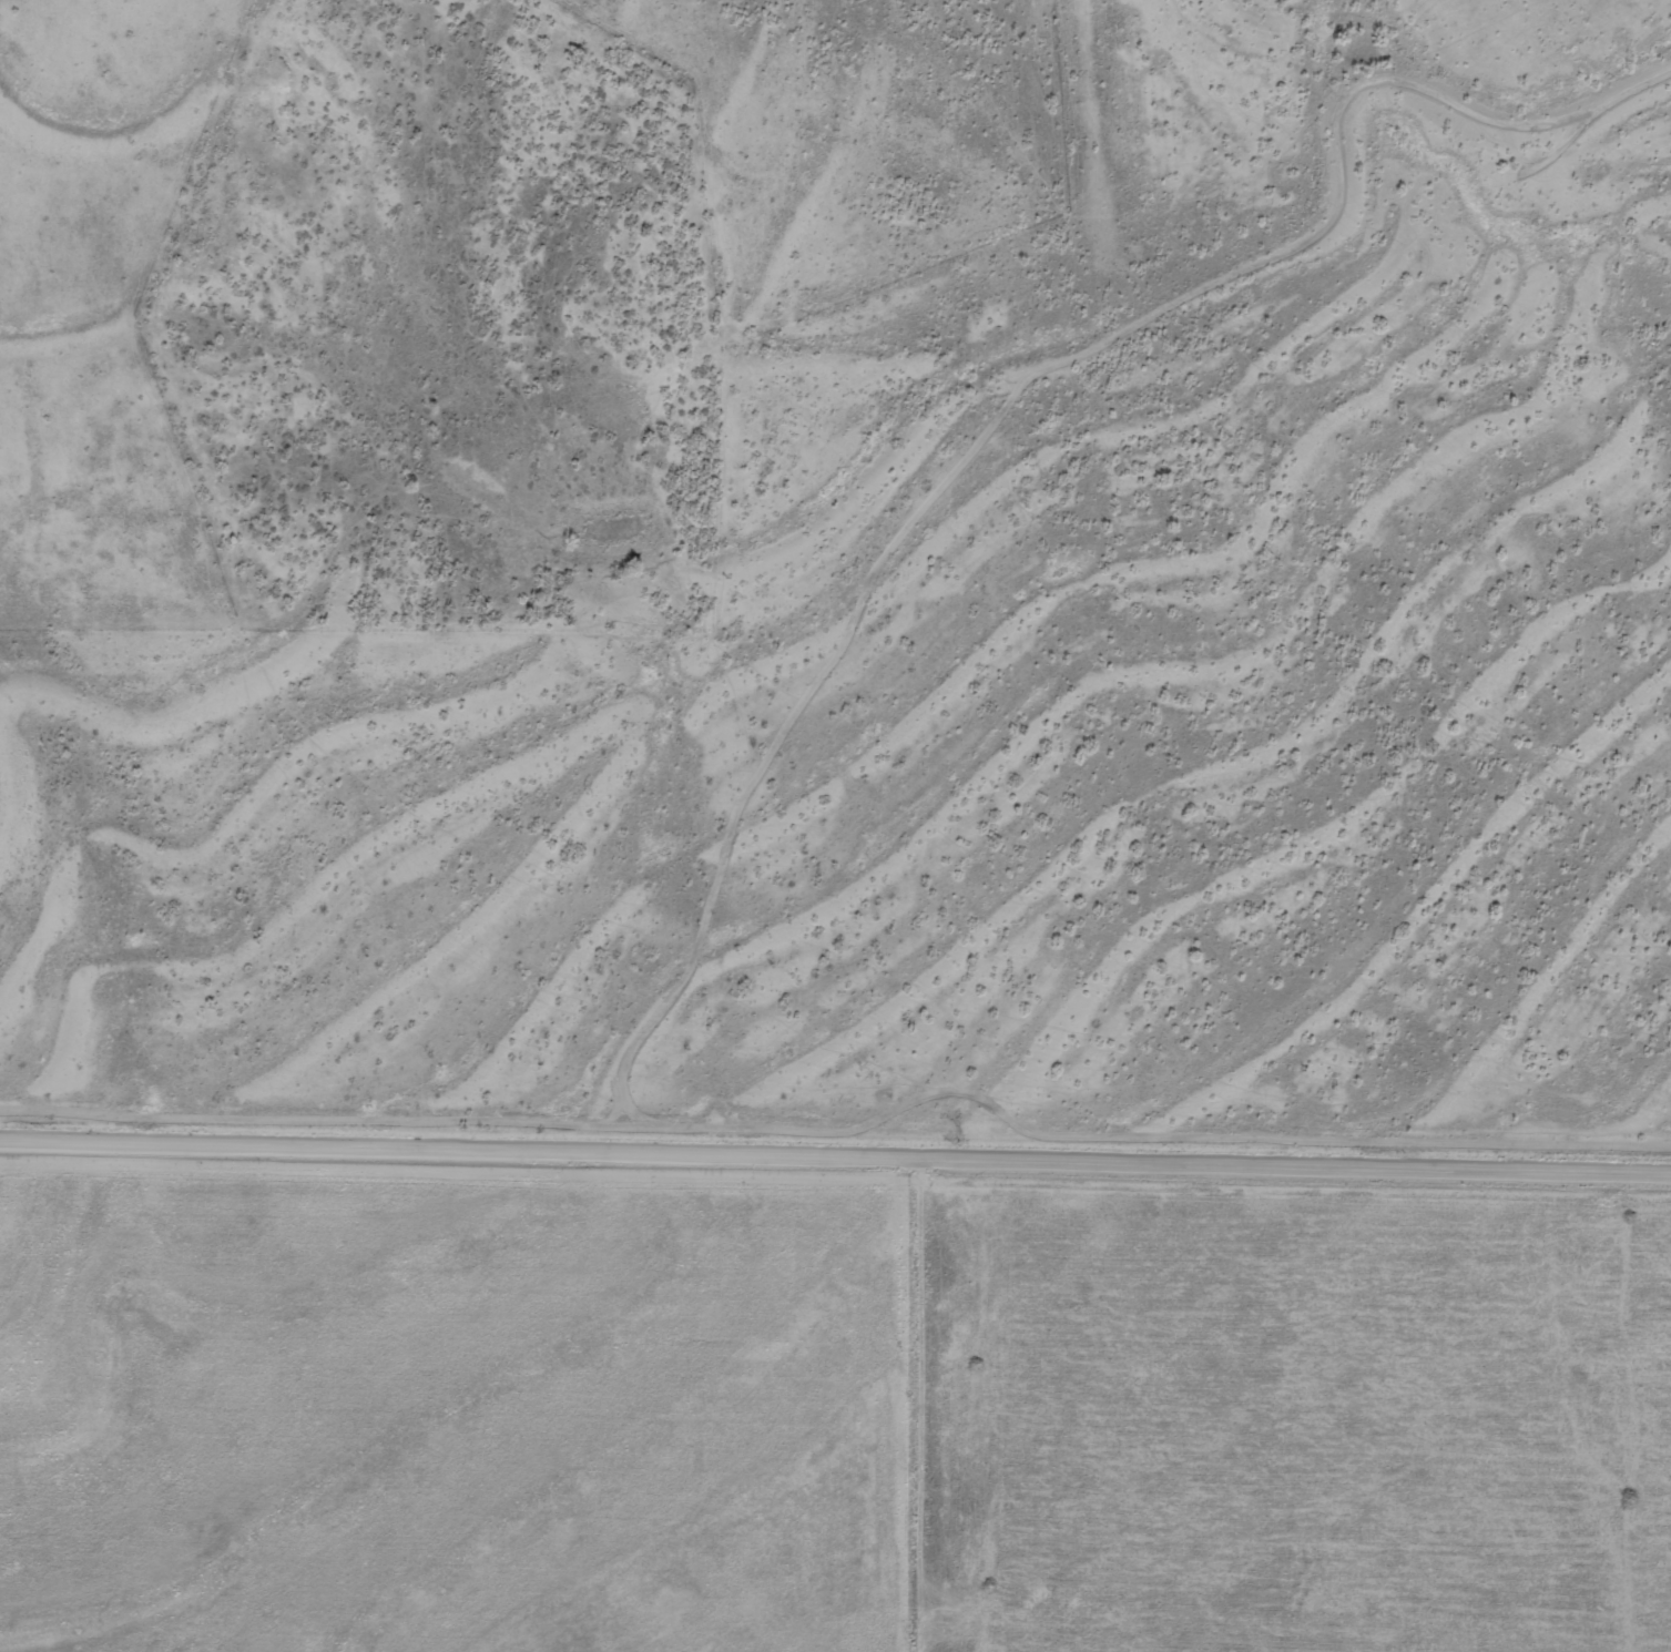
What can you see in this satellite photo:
road: (835, 1155)

